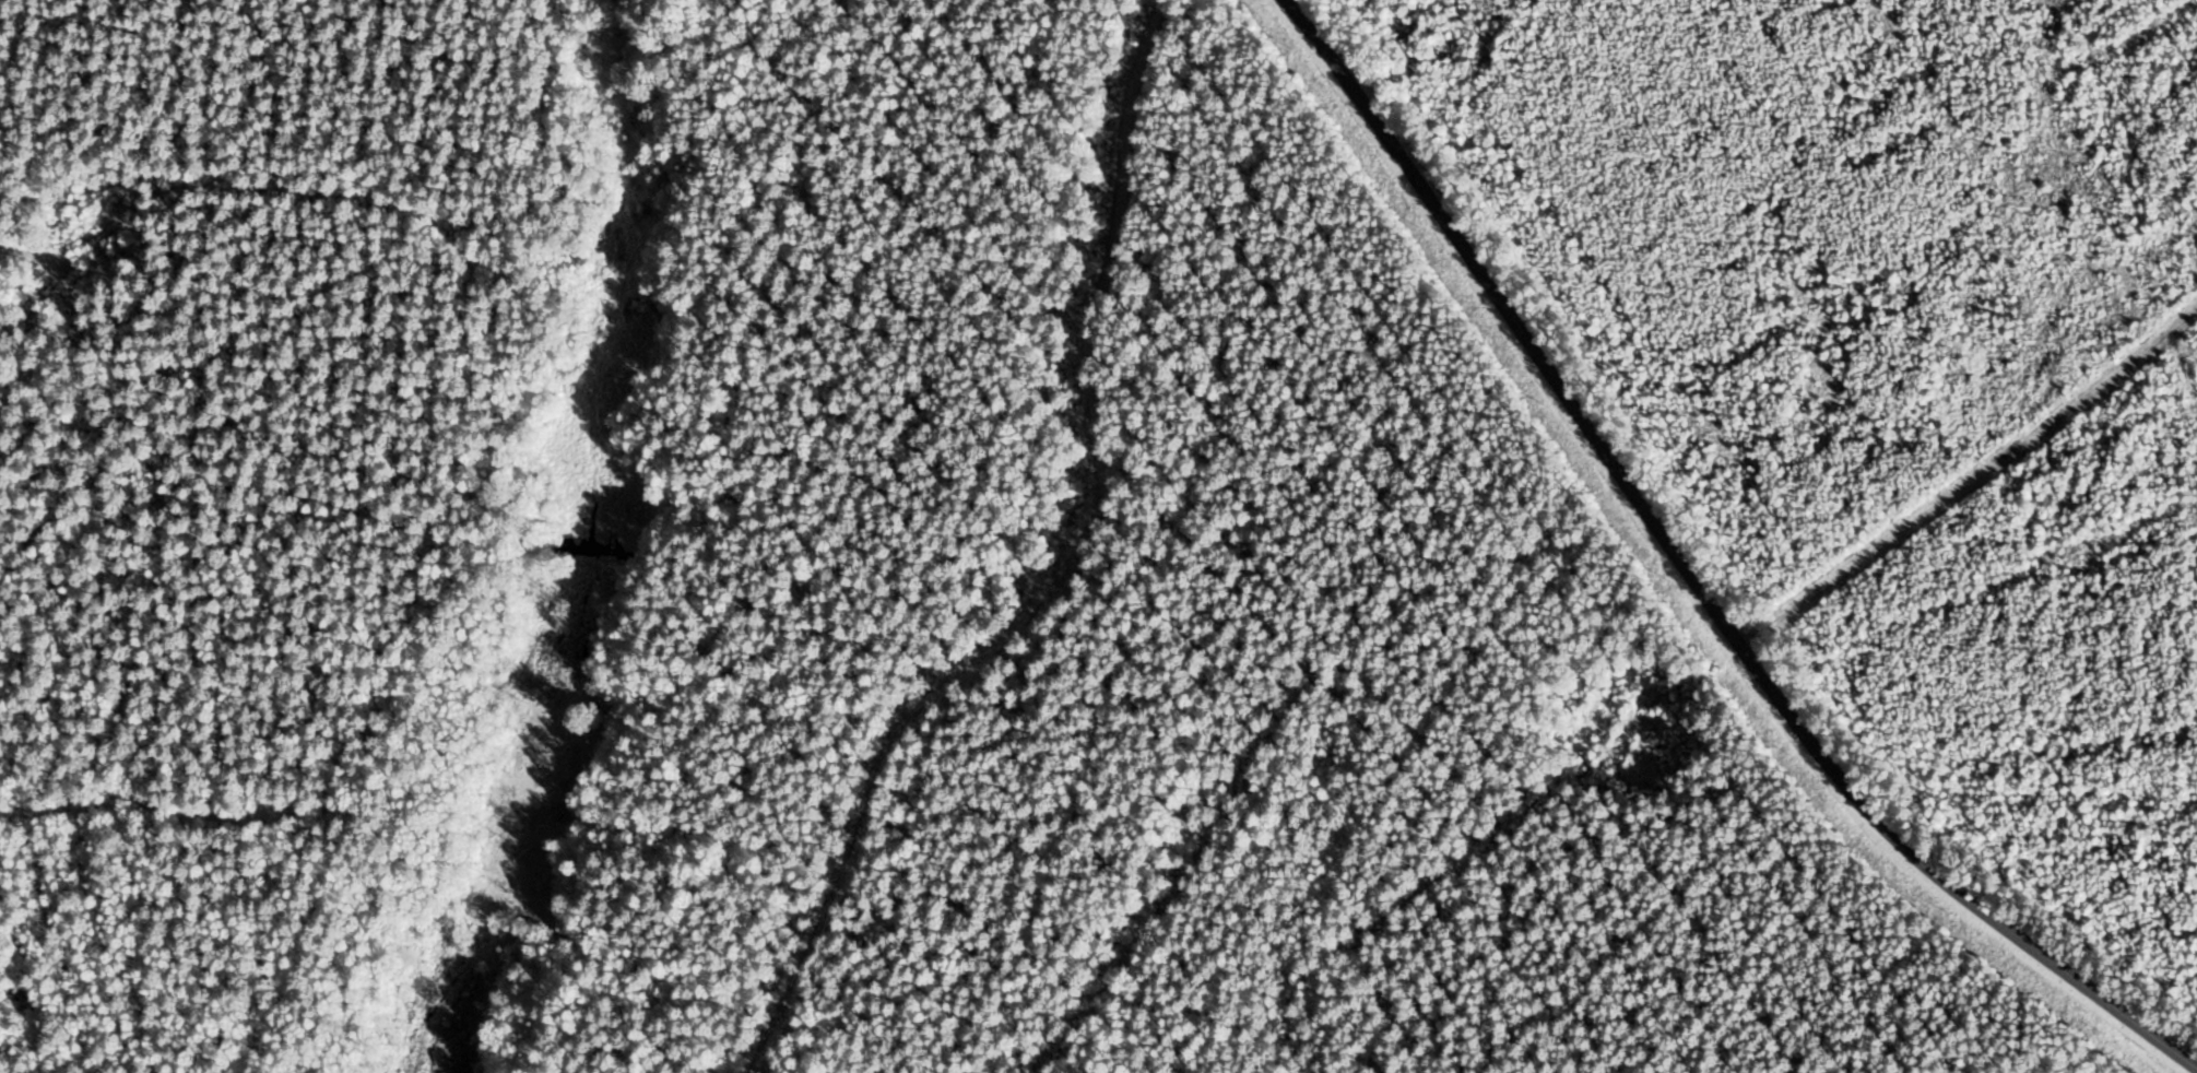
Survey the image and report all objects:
park: (1335, 561)
road: (1692, 579)

